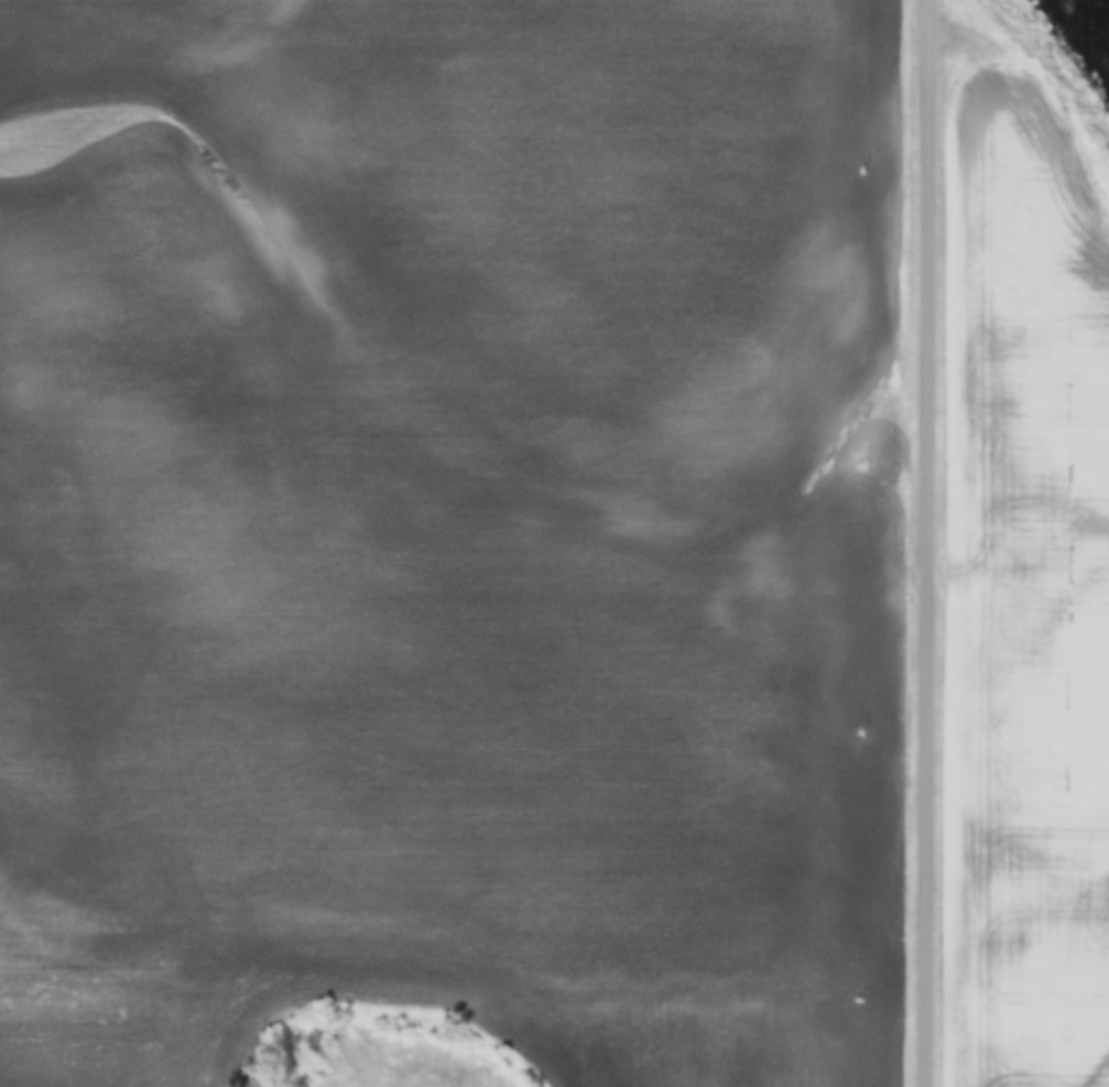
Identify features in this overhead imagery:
road: (928, 543)

